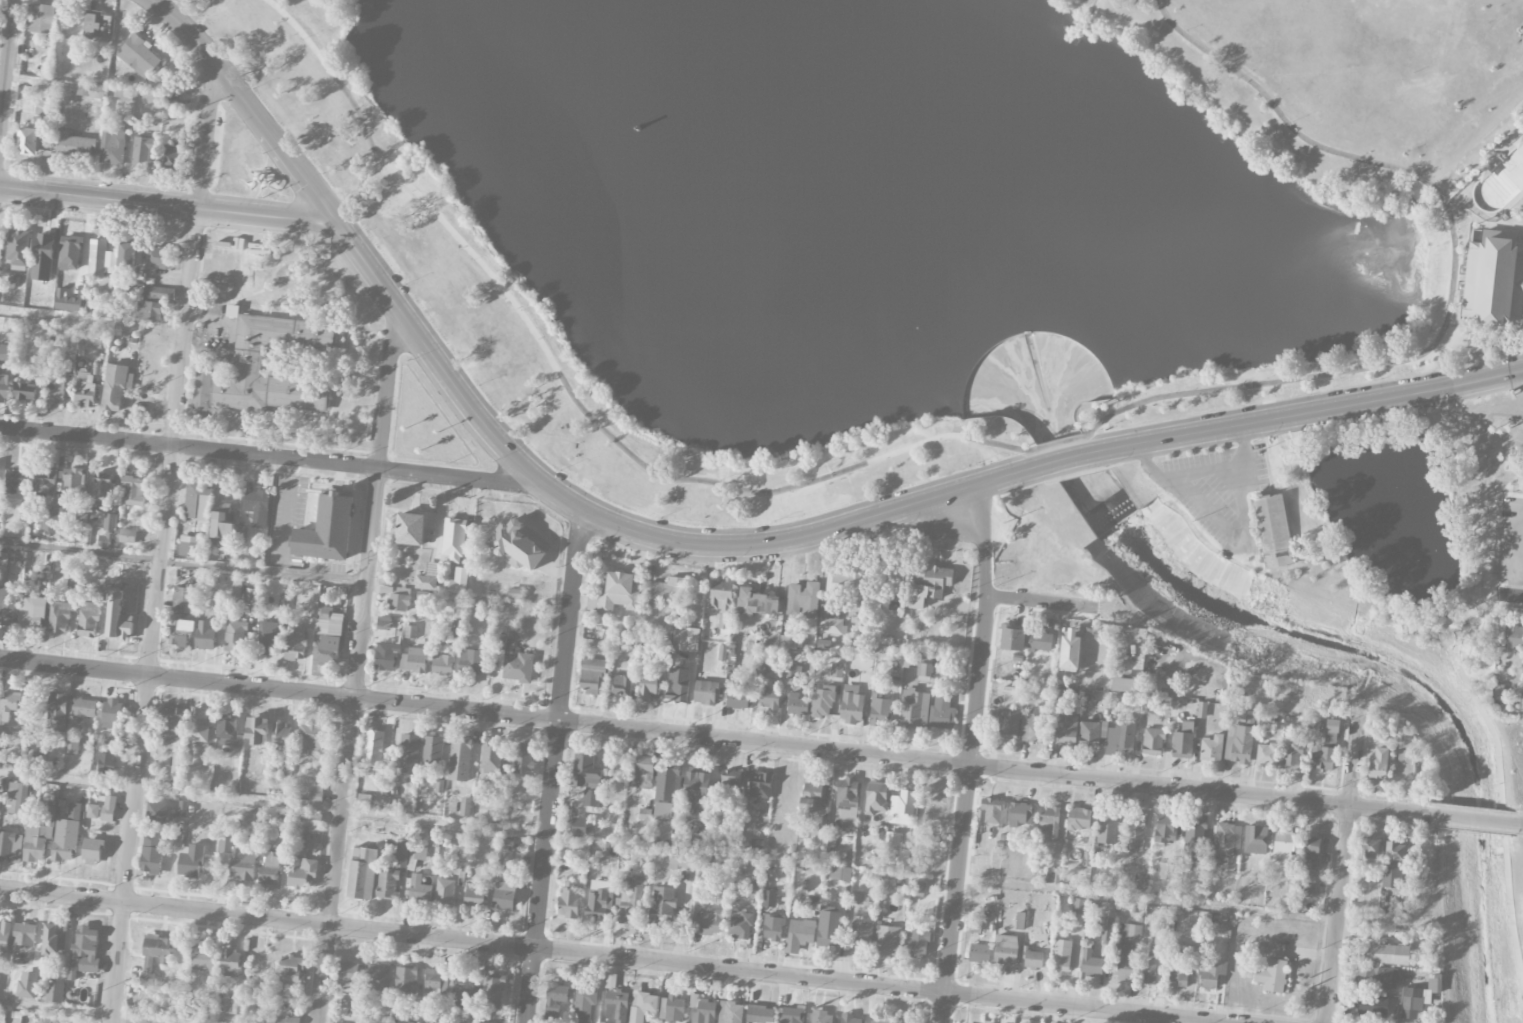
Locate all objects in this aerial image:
building: (41, 19)
building: (97, 26)
park: (1344, 51)
building: (138, 56)
road: (6, 57)
building: (92, 91)
building: (123, 94)
building: (170, 99)
road: (243, 101)
building: (29, 139)
building: (74, 145)
building: (112, 145)
parking lot: (212, 146)
building: (142, 153)
building: (173, 156)
building: (1510, 170)
road: (164, 205)
road: (419, 215)
road: (1479, 222)
road: (1521, 228)
building: (18, 251)
building: (69, 253)
building: (127, 256)
building: (100, 258)
building: (159, 258)
park: (955, 258)
road: (1449, 275)
building: (1493, 279)
building: (159, 293)
building: (87, 303)
building: (149, 311)
road: (93, 319)
road: (1517, 325)
road: (1481, 328)
building: (92, 334)
building: (5, 353)
building: (69, 359)
building: (249, 362)
building: (5, 387)
building: (114, 388)
building: (26, 391)
building: (54, 391)
building: (85, 398)
road: (571, 399)
road: (438, 408)
road: (1316, 411)
dam: (1051, 414)
road: (1059, 441)
road: (265, 456)
road: (1048, 463)
building: (1519, 466)
road: (1512, 468)
road: (1205, 469)
building: (16, 481)
building: (46, 482)
building: (73, 483)
building: (102, 488)
road: (1518, 488)
building: (134, 491)
parking lot: (1219, 492)
road: (1511, 494)
building: (197, 502)
road: (286, 502)
building: (257, 507)
road: (593, 515)
building: (80, 520)
building: (49, 521)
building: (221, 523)
road: (1480, 529)
building: (327, 530)
building: (410, 530)
building: (1274, 531)
road: (1509, 533)
building: (112, 534)
road: (1229, 534)
building: (241, 535)
building: (127, 536)
parking lot: (1511, 540)
building: (453, 541)
road: (162, 546)
building: (189, 546)
building: (515, 547)
road: (80, 552)
road: (1519, 557)
building: (3, 567)
road: (264, 572)
building: (844, 580)
building: (457, 582)
building: (425, 583)
building: (893, 583)
building: (930, 585)
building: (667, 591)
building: (515, 594)
building: (615, 595)
road: (1510, 595)
building: (425, 597)
building: (722, 600)
road: (1446, 600)
building: (398, 601)
building: (803, 601)
road: (1039, 601)
building: (758, 603)
building: (7, 606)
building: (32, 613)
building: (59, 617)
building: (175, 617)
building: (117, 618)
building: (88, 620)
building: (384, 622)
building: (831, 622)
building: (410, 632)
building: (205, 636)
building: (235, 637)
building: (327, 637)
building: (1515, 637)
building: (267, 638)
building: (1011, 638)
building: (689, 640)
building: (1040, 641)
building: (1217, 641)
building: (498, 643)
building: (781, 643)
building: (295, 644)
building: (1069, 651)
building: (387, 652)
building: (414, 660)
building: (470, 663)
building: (443, 665)
building: (919, 665)
building: (518, 668)
road: (357, 670)
building: (836, 671)
building: (793, 672)
building: (593, 676)
building: (1125, 684)
building: (678, 685)
building: (620, 686)
building: (647, 687)
building: (705, 693)
building: (738, 697)
building: (1058, 697)
building: (770, 699)
building: (822, 704)
building: (852, 705)
building: (8, 706)
building: (797, 706)
building: (914, 710)
building: (880, 711)
building: (57, 712)
building: (82, 712)
building: (941, 713)
building: (112, 714)
building: (173, 721)
building: (1005, 724)
building: (1034, 724)
building: (199, 726)
building: (1067, 728)
building: (1331, 731)
building: (257, 732)
road: (1492, 734)
building: (229, 735)
building: (1108, 736)
building: (280, 737)
building: (311, 739)
road: (717, 739)
building: (2, 740)
building: (1182, 740)
building: (1152, 741)
building: (41, 742)
building: (1239, 743)
building: (71, 747)
building: (374, 748)
building: (1211, 748)
building: (432, 750)
building: (409, 754)
road: (971, 754)
building: (1266, 754)
building: (1291, 757)
building: (1323, 757)
building: (523, 758)
building: (491, 759)
building: (460, 762)
building: (1378, 763)
building: (177, 764)
building: (105, 766)
road: (552, 767)
building: (640, 771)
building: (585, 772)
building: (730, 782)
building: (760, 785)
building: (439, 786)
building: (698, 790)
building: (665, 792)
building: (315, 793)
building: (811, 797)
building: (17, 798)
building: (847, 798)
building: (876, 798)
building: (590, 799)
building: (364, 801)
building: (936, 803)
road: (272, 804)
building: (390, 804)
building: (903, 804)
building: (465, 807)
building: (108, 809)
building: (182, 809)
building: (993, 810)
building: (74, 811)
building: (92, 811)
building: (157, 813)
building: (1020, 813)
building: (1078, 819)
building: (308, 820)
road: (1477, 820)
building: (1049, 823)
road: (1520, 825)
building: (821, 826)
building: (1165, 826)
building: (579, 827)
building: (1107, 828)
building: (1136, 832)
building: (39, 837)
building: (892, 839)
building: (1227, 839)
building: (1255, 839)
building: (65, 840)
building: (1193, 841)
building: (1285, 843)
building: (505, 846)
building: (10, 847)
building: (1370, 847)
building: (92, 851)
building: (1394, 851)
building: (1311, 853)
building: (151, 854)
building: (401, 854)
building: (416, 856)
building: (836, 856)
building: (238, 860)
building: (682, 860)
building: (929, 860)
road: (1344, 863)
building: (1167, 870)
building: (270, 871)
building: (302, 873)
building: (837, 873)
building: (362, 874)
building: (1052, 875)
building: (1392, 878)
building: (625, 884)
building: (387, 885)
building: (1306, 885)
building: (419, 890)
building: (444, 891)
building: (755, 892)
building: (473, 896)
building: (504, 896)
building: (769, 899)
building: (861, 899)
road: (1148, 899)
building: (598, 900)
building: (568, 901)
building: (630, 904)
building: (1078, 905)
building: (662, 908)
building: (1020, 921)
building: (708, 923)
building: (1213, 924)
building: (739, 925)
building: (773, 928)
building: (828, 929)
building: (1105, 929)
building: (1133, 931)
building: (23, 936)
building: (798, 936)
building: (860, 936)
building: (55, 940)
building: (886, 941)
building: (918, 944)
building: (1005, 949)
building: (84, 952)
building: (979, 953)
building: (1387, 954)
building: (155, 955)
building: (1062, 955)
building: (1124, 956)
road: (606, 957)
building: (1032, 958)
building: (203, 959)
building: (1090, 963)
building: (230, 964)
building: (265, 964)
building: (1272, 967)
building: (291, 971)
building: (1211, 972)
building: (1148, 973)
building: (348, 976)
building: (1179, 976)
building: (1377, 976)
building: (378, 978)
building: (405, 980)
building: (437, 984)
building: (27, 985)
building: (464, 991)
building: (55, 993)
building: (492, 994)
building: (554, 1001)
building: (414, 1002)
building: (1411, 1002)
building: (583, 1003)
building: (208, 1004)
building: (643, 1005)
building: (616, 1006)
building: (1373, 1006)
building: (232, 1008)
building: (672, 1009)
building: (702, 1010)
road: (80, 1013)
building: (730, 1013)
building: (760, 1015)
building: (791, 1015)
building: (822, 1017)
building: (849, 1019)
building: (288, 1020)
building: (877, 1021)
building: (54, 1022)
building: (900, 1022)

